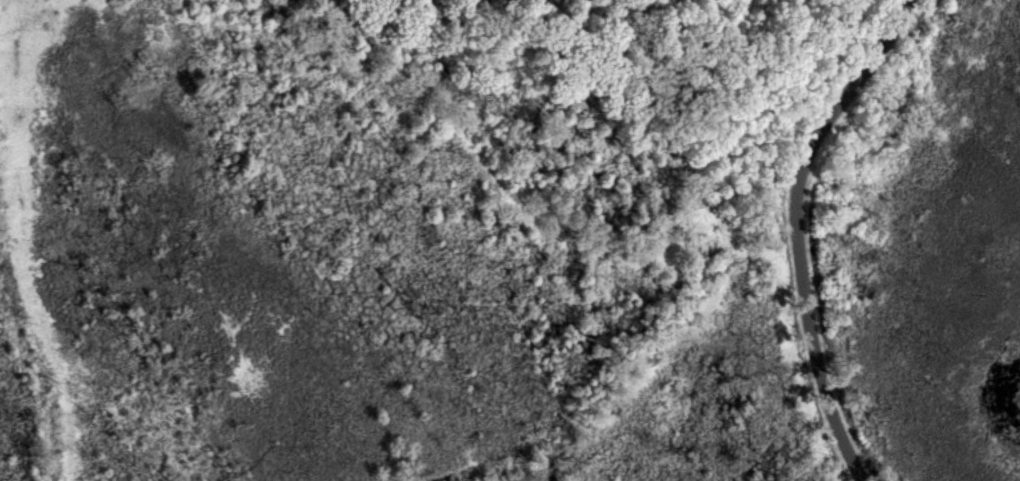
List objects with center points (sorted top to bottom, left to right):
road: (791, 230)

